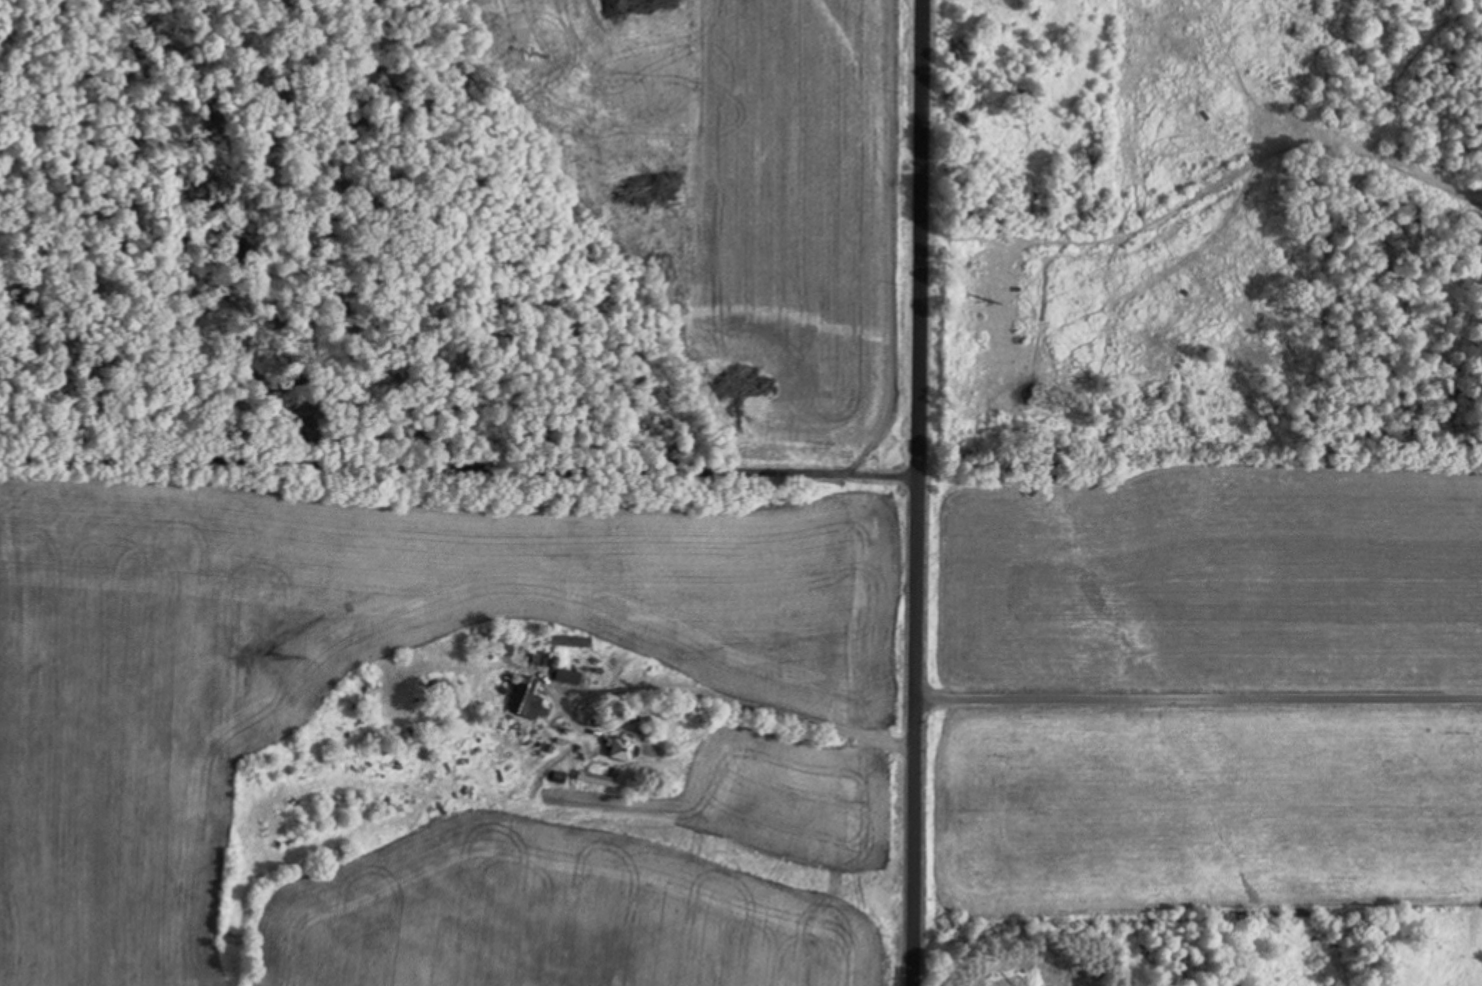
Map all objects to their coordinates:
road: (464, 471)
road: (928, 493)
building: (506, 642)
building: (565, 675)
road: (1204, 677)
building: (520, 697)
road: (749, 698)
building: (610, 748)
building: (592, 777)

